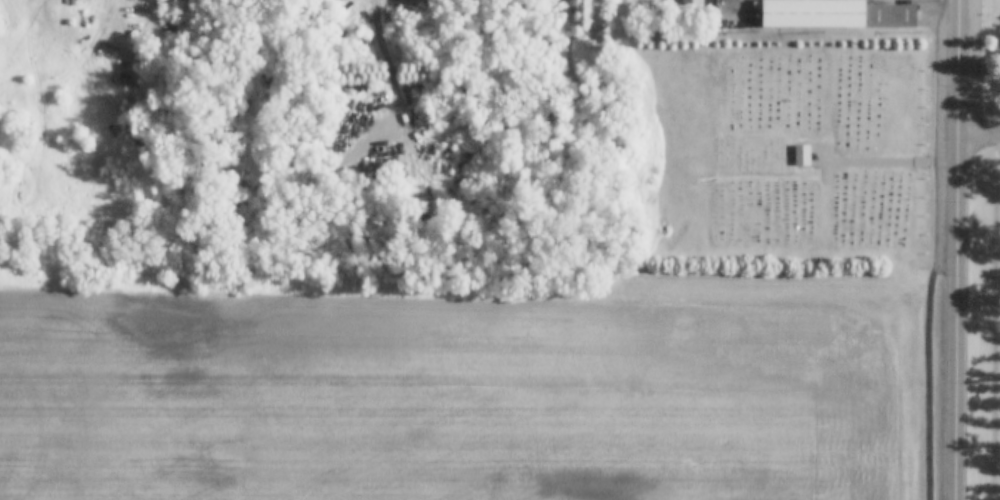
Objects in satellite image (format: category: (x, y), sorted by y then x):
building: (683, 4)
building: (756, 4)
building: (835, 14)
road: (391, 43)
road: (957, 66)
road: (981, 110)
road: (978, 134)
road: (828, 150)
park: (788, 151)
road: (825, 159)
road: (883, 163)
park: (995, 250)
road: (928, 295)
road: (955, 317)

